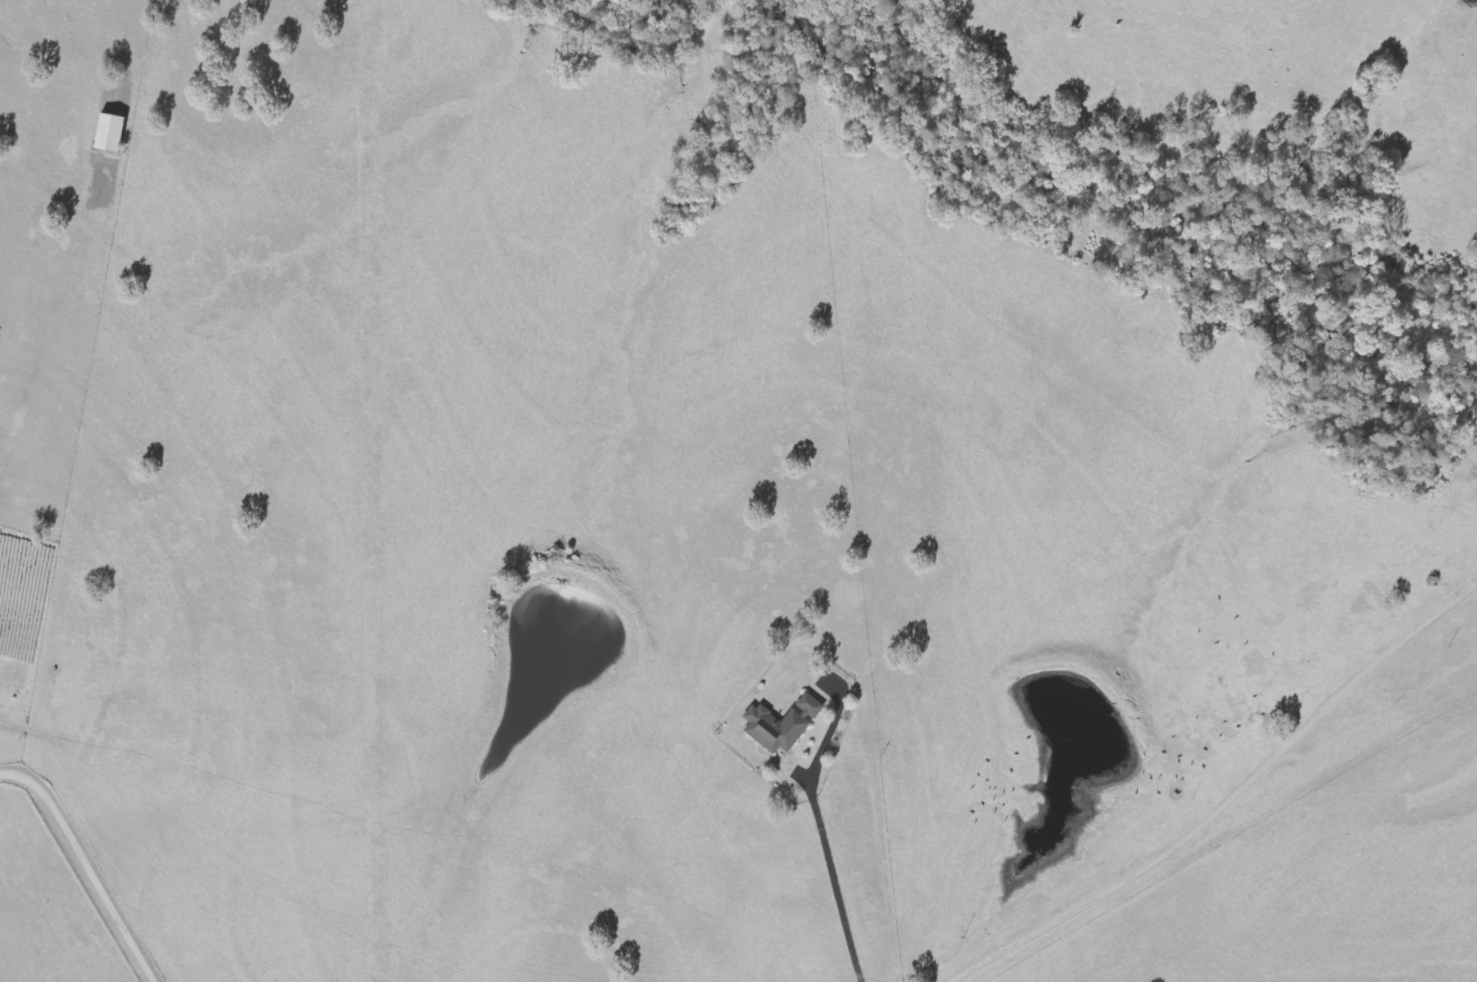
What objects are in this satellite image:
building: (114, 134)
dam: (574, 573)
dam: (1097, 667)
building: (779, 725)
road: (83, 868)

